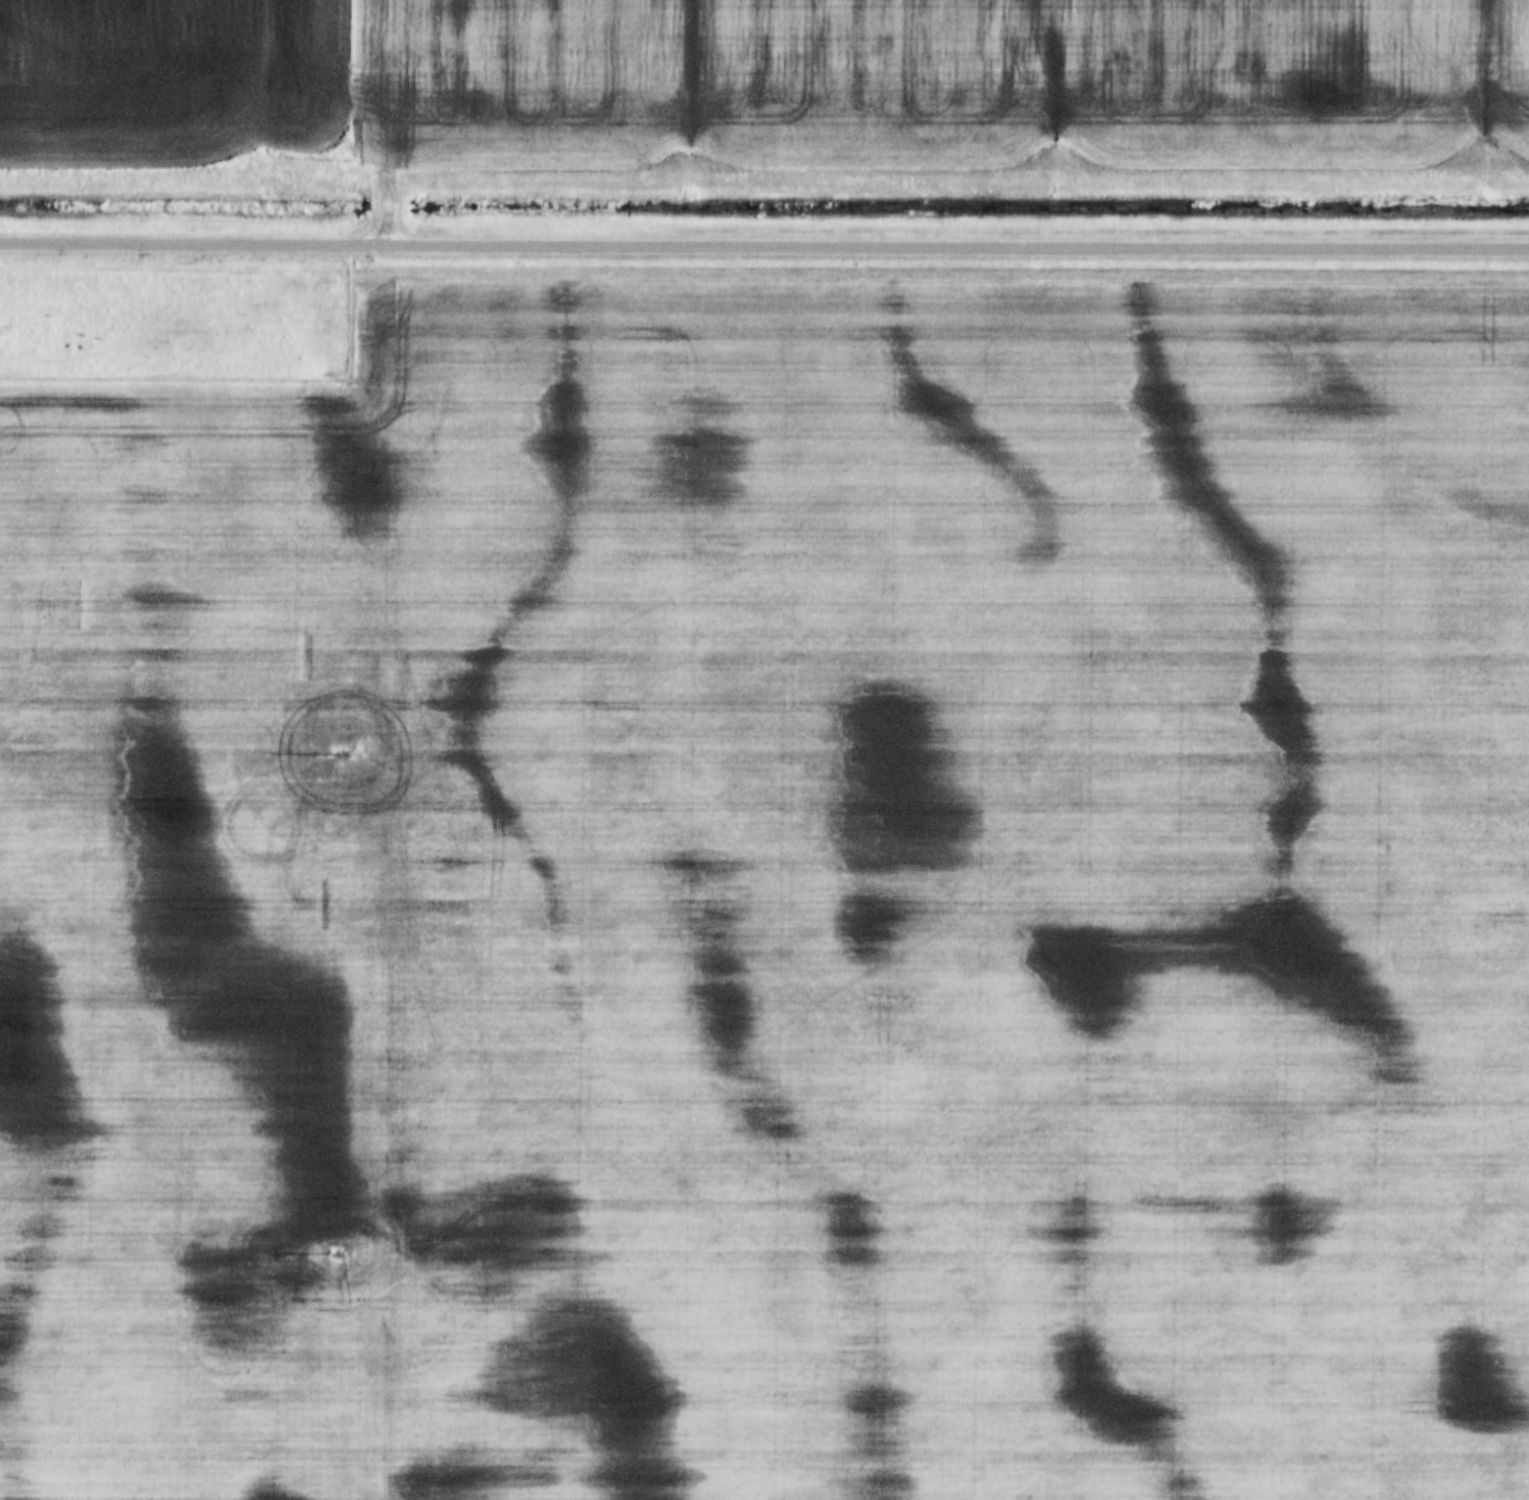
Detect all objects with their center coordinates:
power tower: (346, 162)
road: (764, 245)
power tower: (338, 755)
power tower: (327, 1254)

